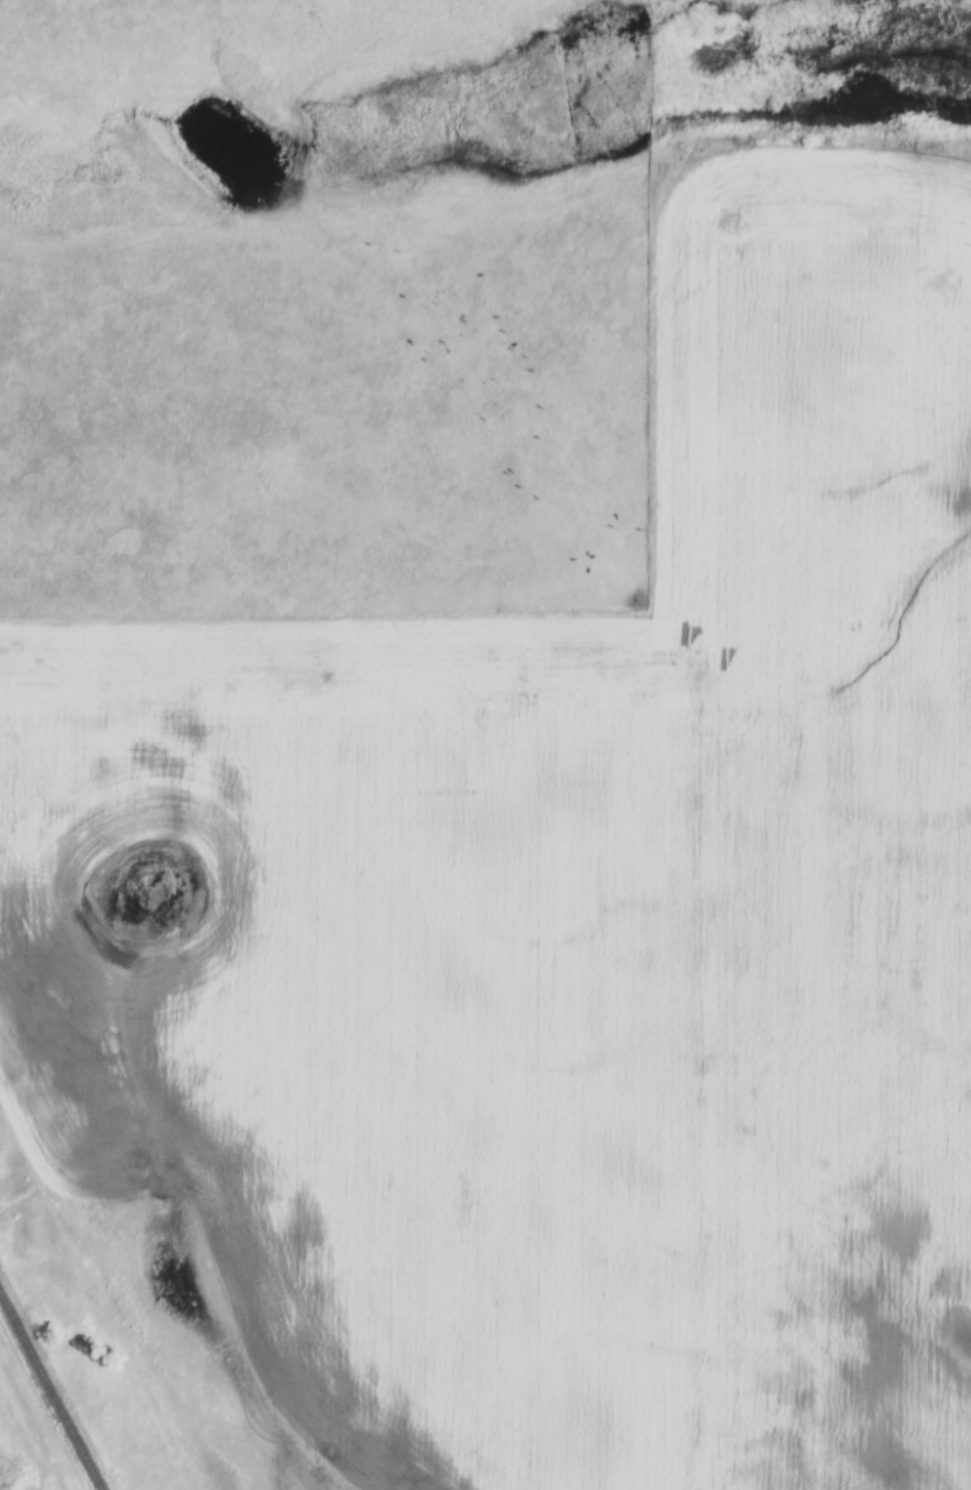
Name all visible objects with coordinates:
railway: (51, 1391)
railway: (31, 1429)

